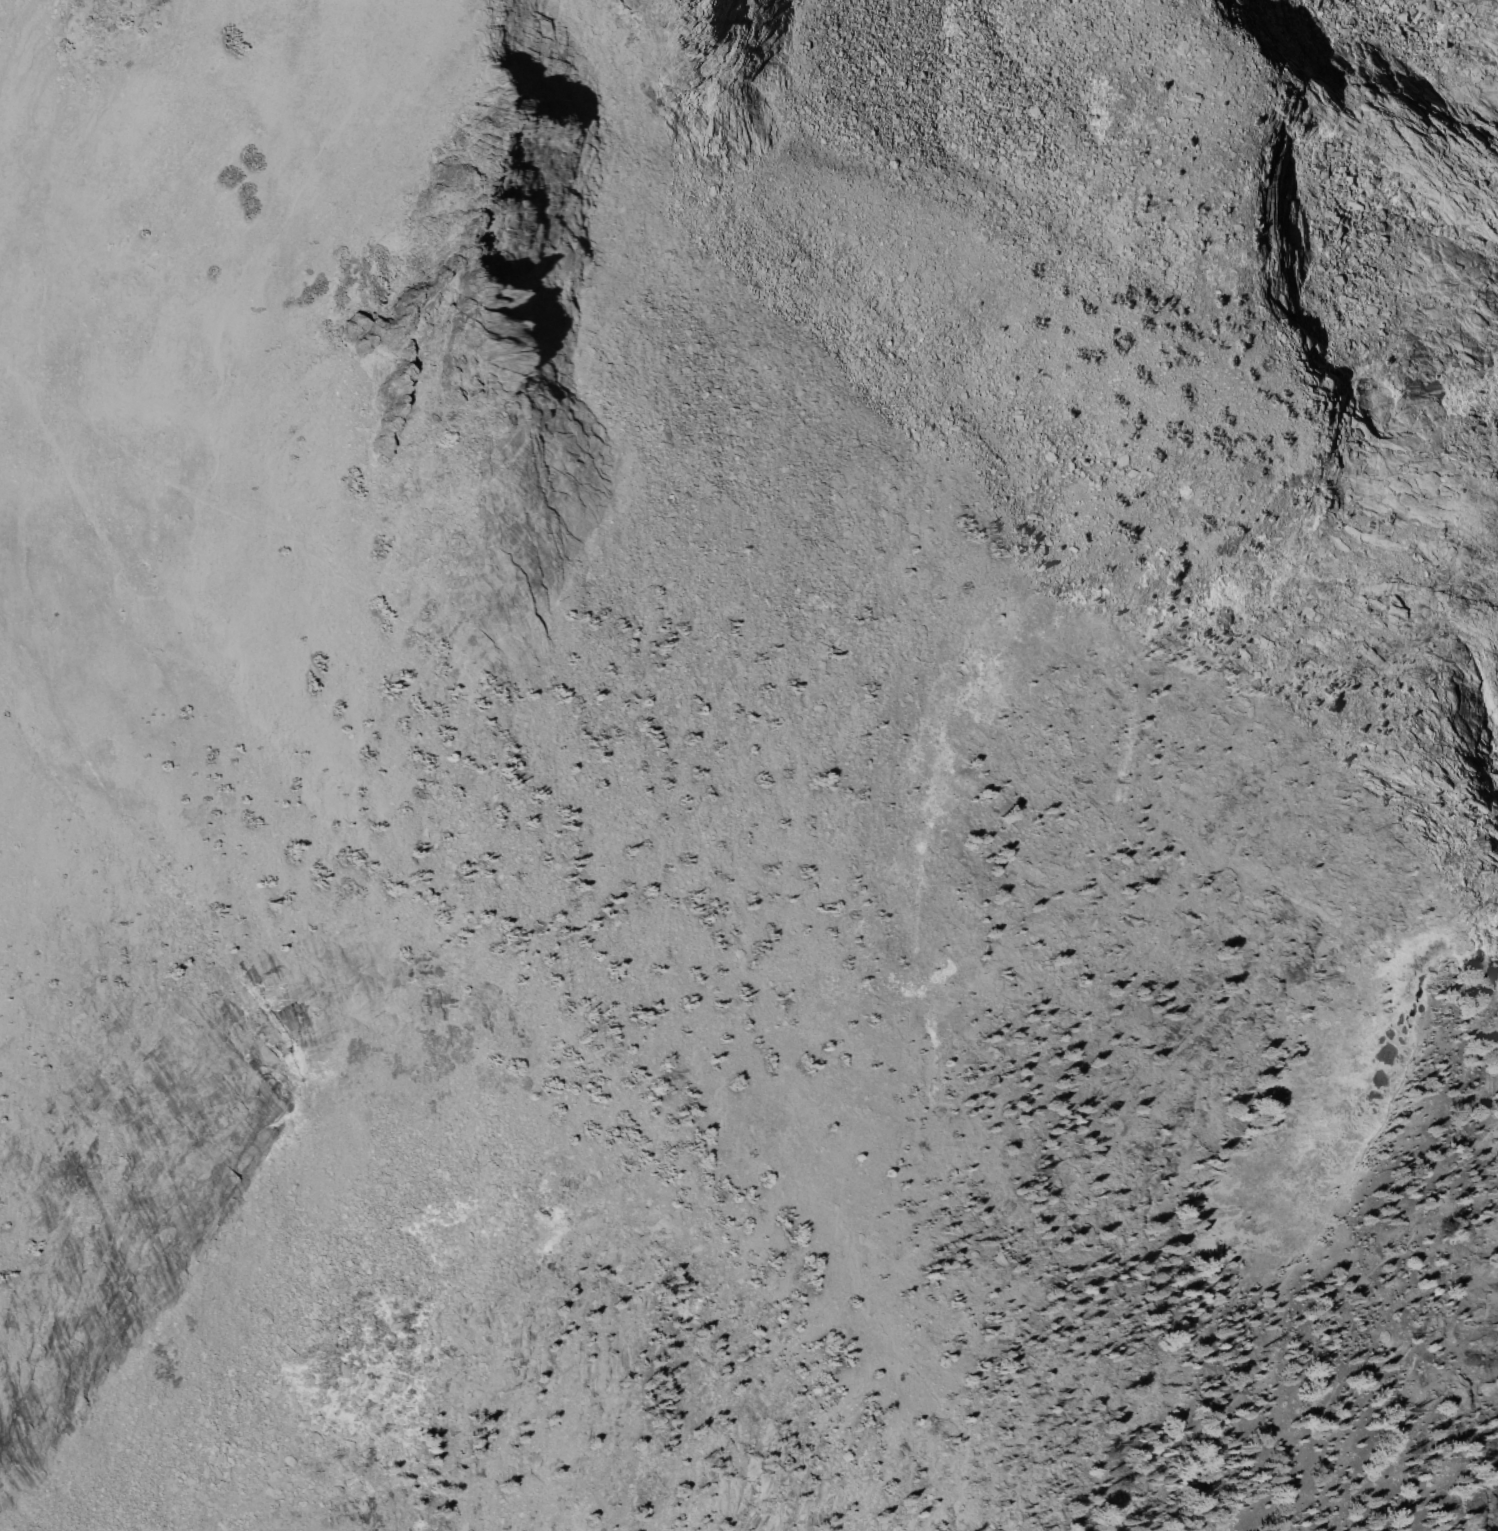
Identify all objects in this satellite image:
road: (654, 836)
road: (1447, 992)
road: (1313, 1337)

